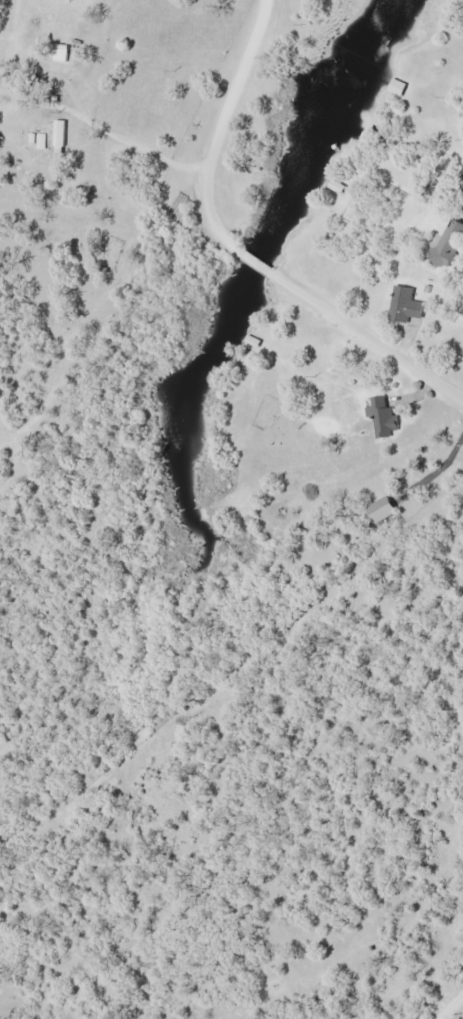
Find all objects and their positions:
road: (11, 27)
building: (397, 90)
building: (57, 100)
road: (224, 132)
building: (60, 138)
building: (33, 139)
building: (43, 143)
road: (155, 156)
building: (338, 189)
building: (448, 246)
road: (257, 265)
building: (407, 306)
road: (366, 337)
building: (387, 415)
building: (384, 511)
road: (453, 1008)

